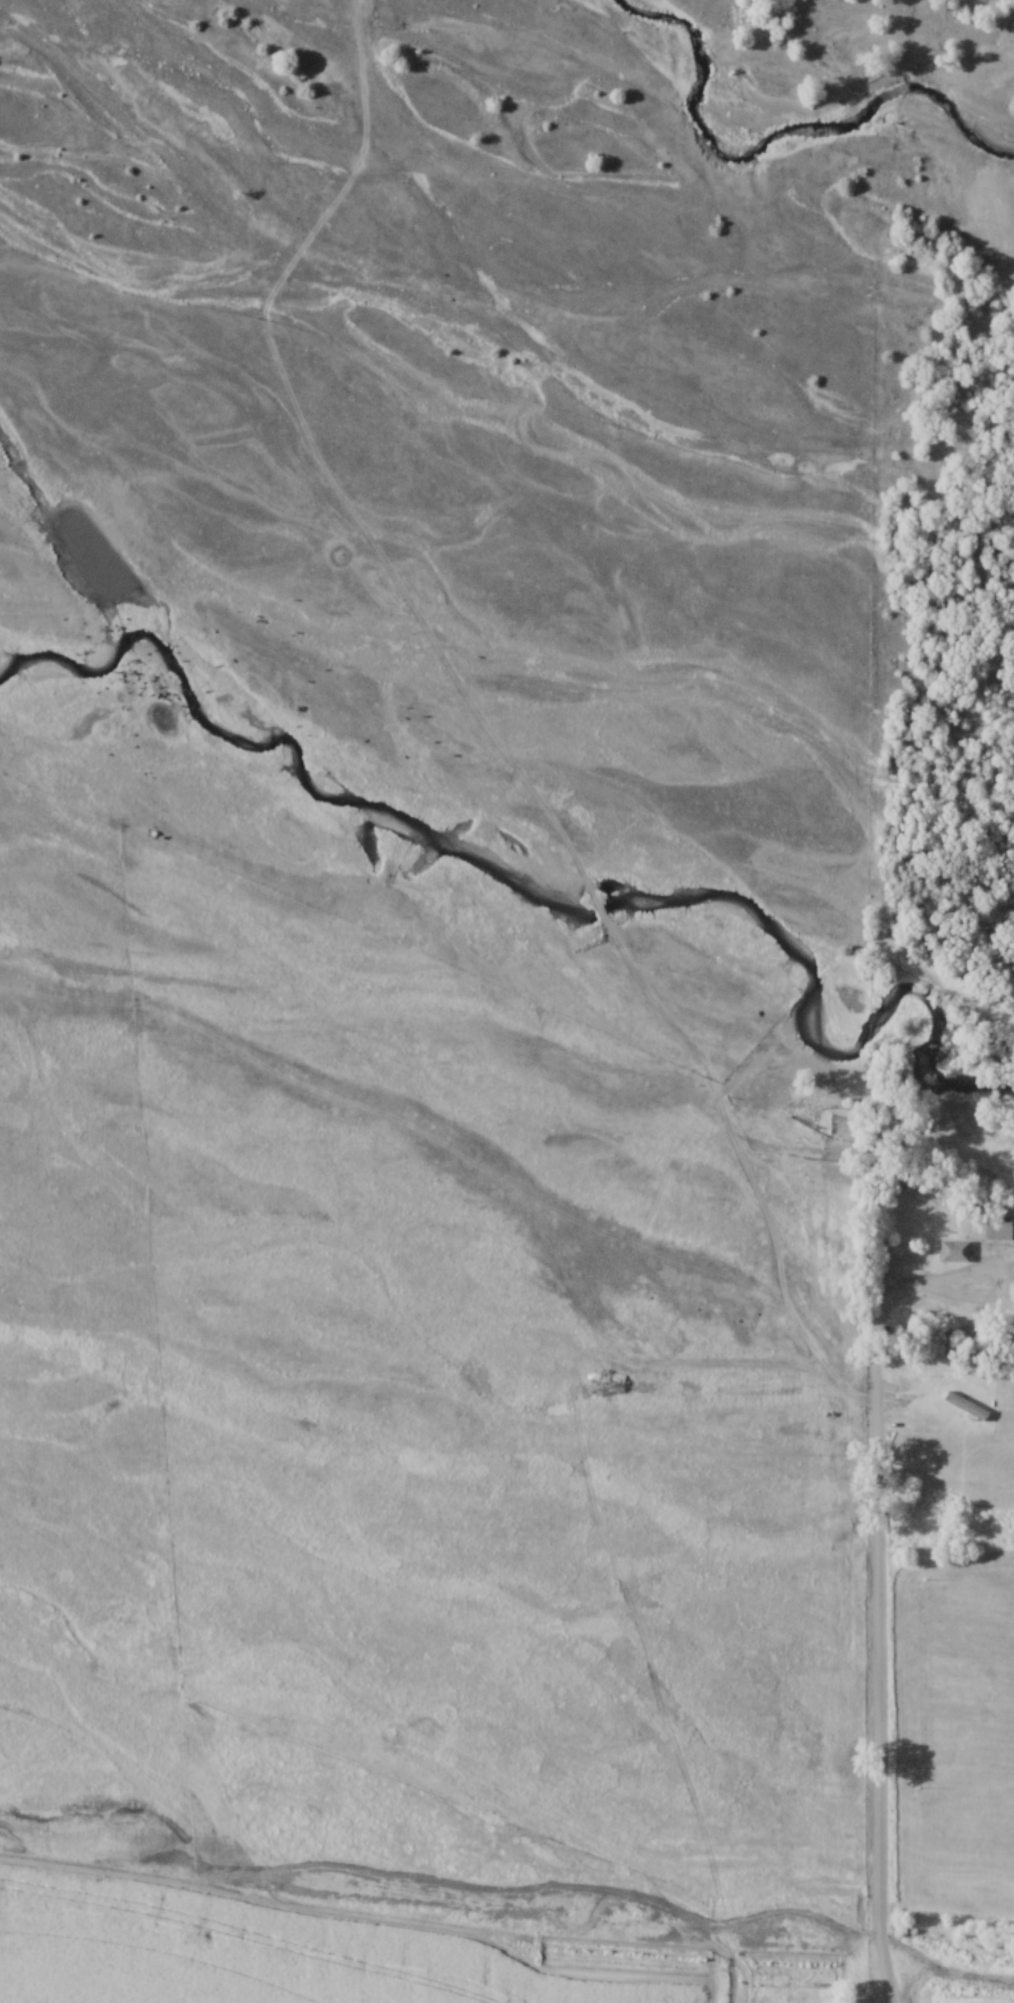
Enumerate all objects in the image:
building: (1001, 1232)
building: (956, 1252)
road: (984, 1281)
road: (897, 1302)
building: (968, 1407)
road: (876, 1634)
road: (880, 1973)

